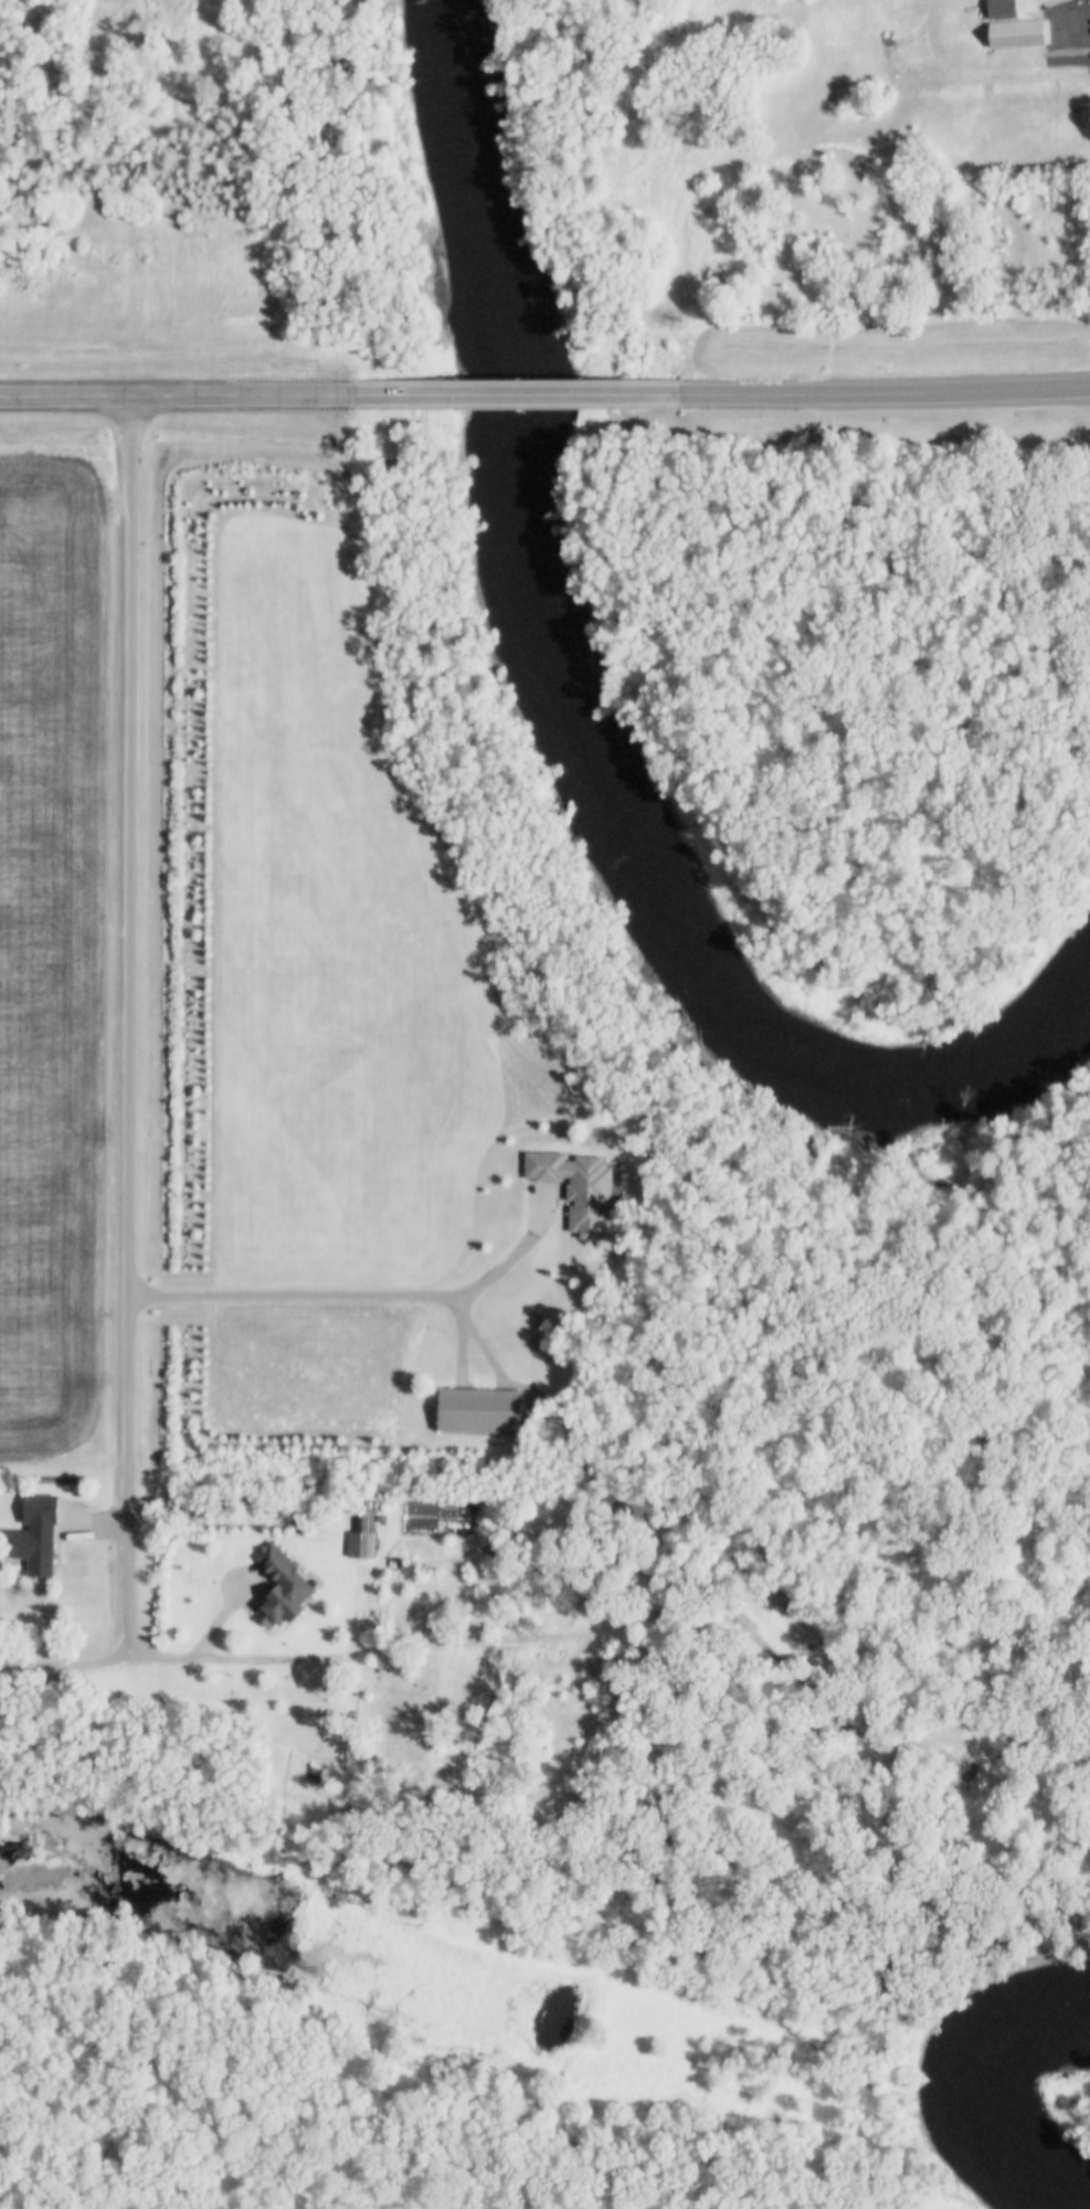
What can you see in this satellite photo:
building: (1010, 34)
road: (885, 387)
road: (589, 389)
road: (435, 391)
road: (186, 393)
river: (576, 728)
road: (129, 1027)
building: (570, 1186)
road: (356, 1299)
building: (470, 1410)
building: (356, 1544)
building: (38, 1546)
building: (286, 1586)
road: (406, 1649)
road: (241, 1661)
road: (66, 1668)
river: (1015, 2041)
river: (987, 2154)
river: (1024, 2205)

